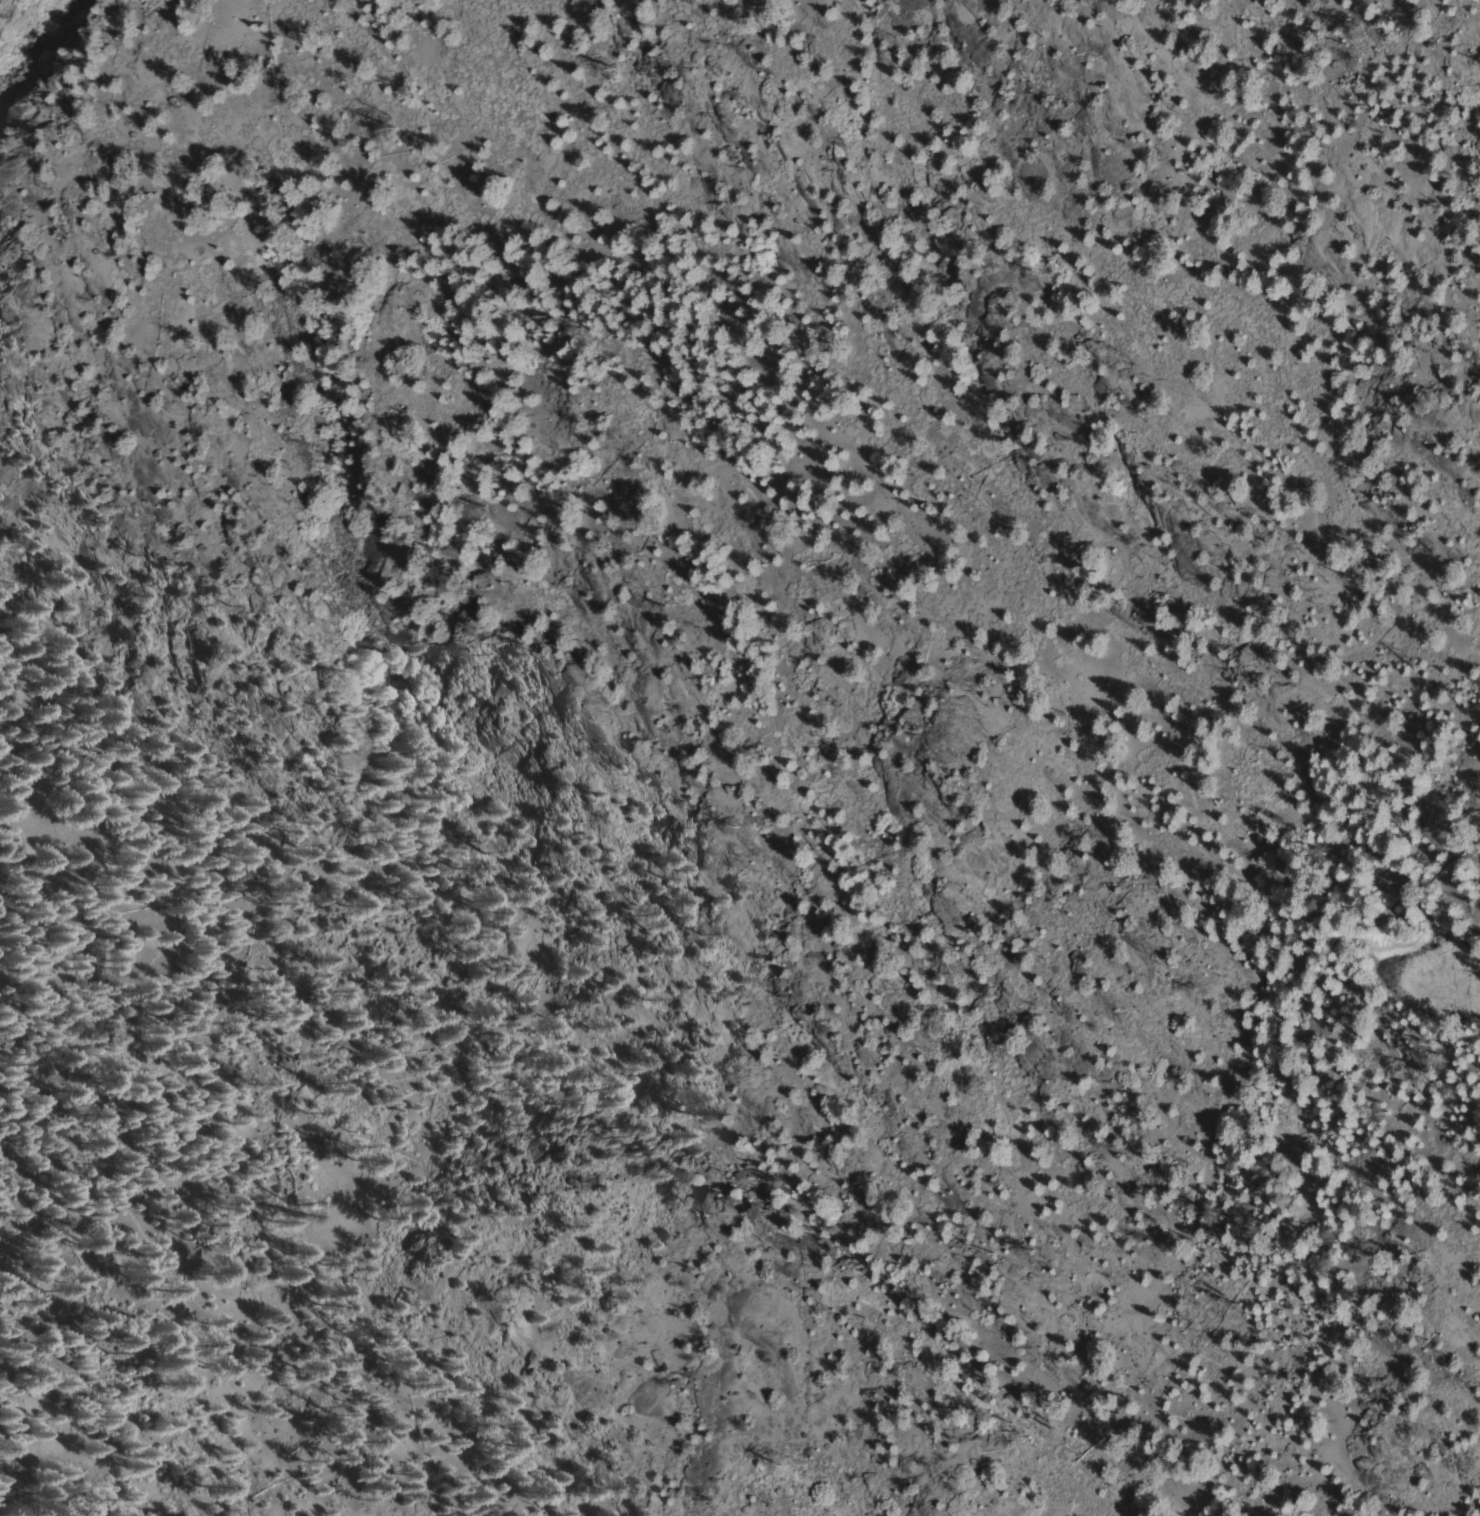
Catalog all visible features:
road: (214, 1266)

